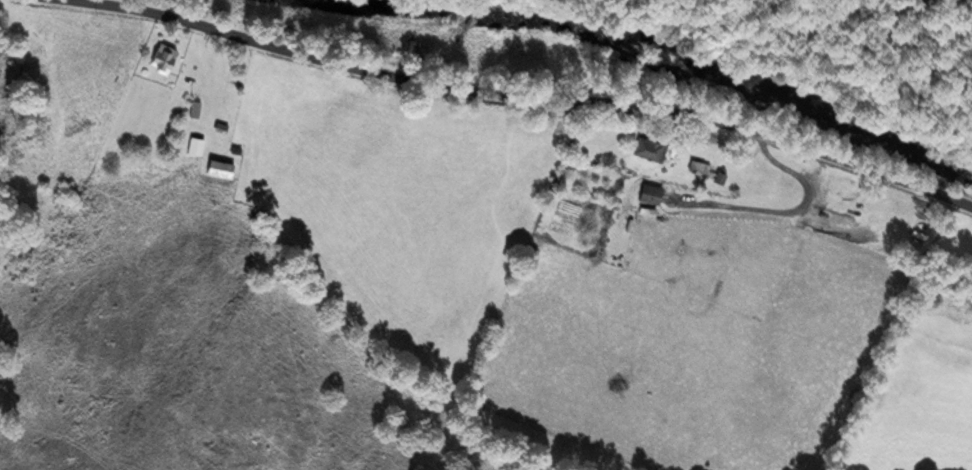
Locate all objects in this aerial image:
building: (162, 57)
road: (533, 93)
building: (195, 108)
building: (220, 126)
building: (650, 145)
building: (220, 168)
building: (708, 170)
building: (649, 193)
road: (790, 211)

